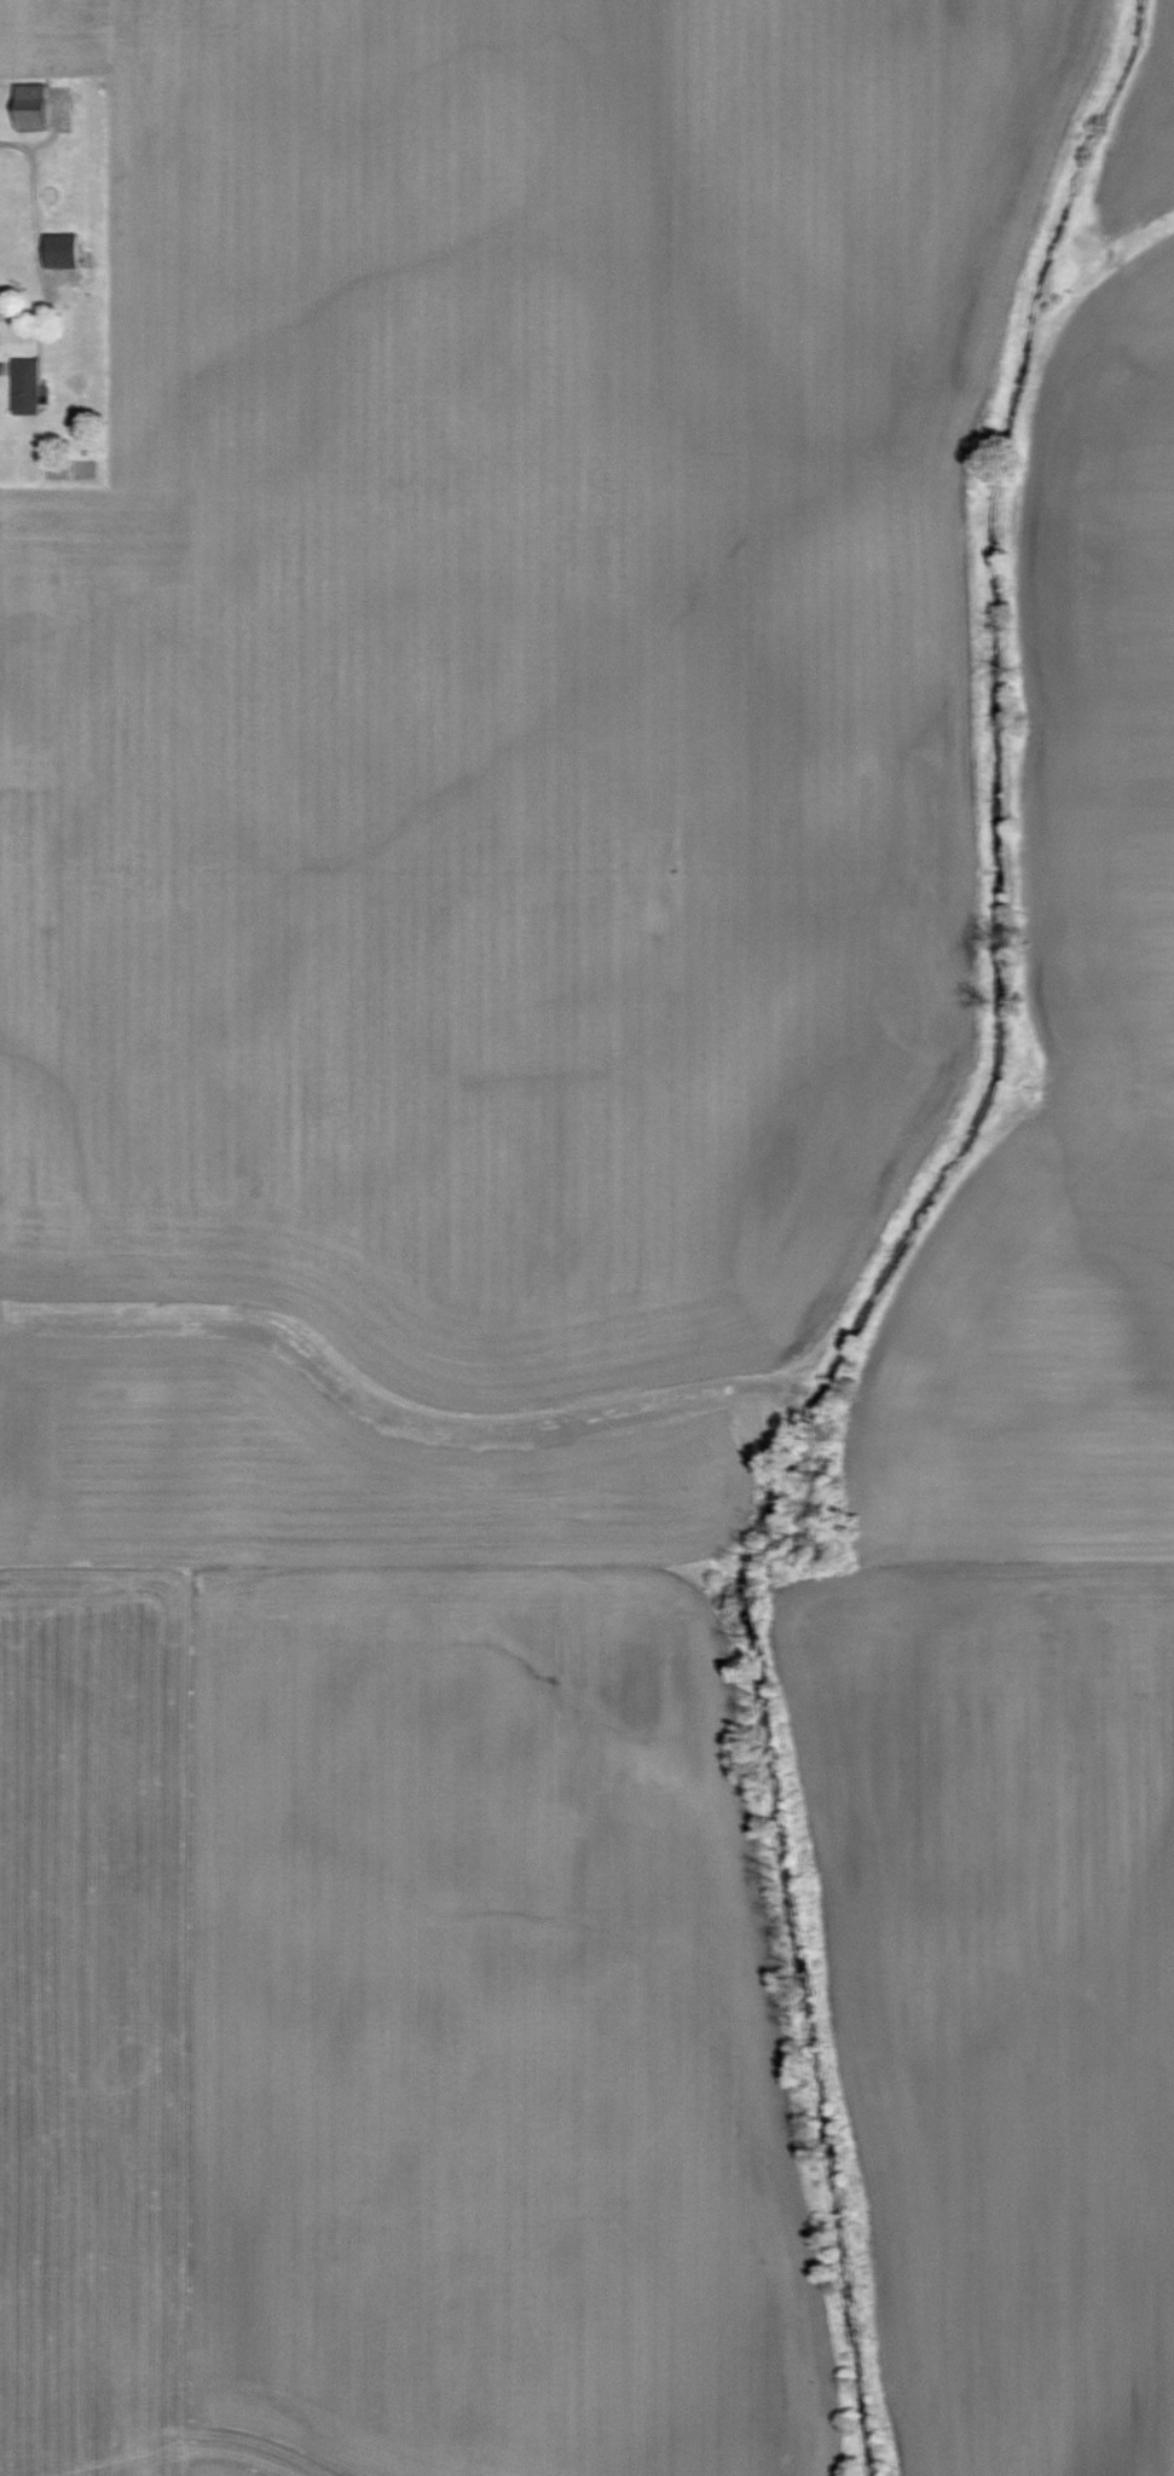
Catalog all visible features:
building: (31, 110)
road: (39, 239)
building: (62, 251)
road: (2, 369)
building: (27, 388)

